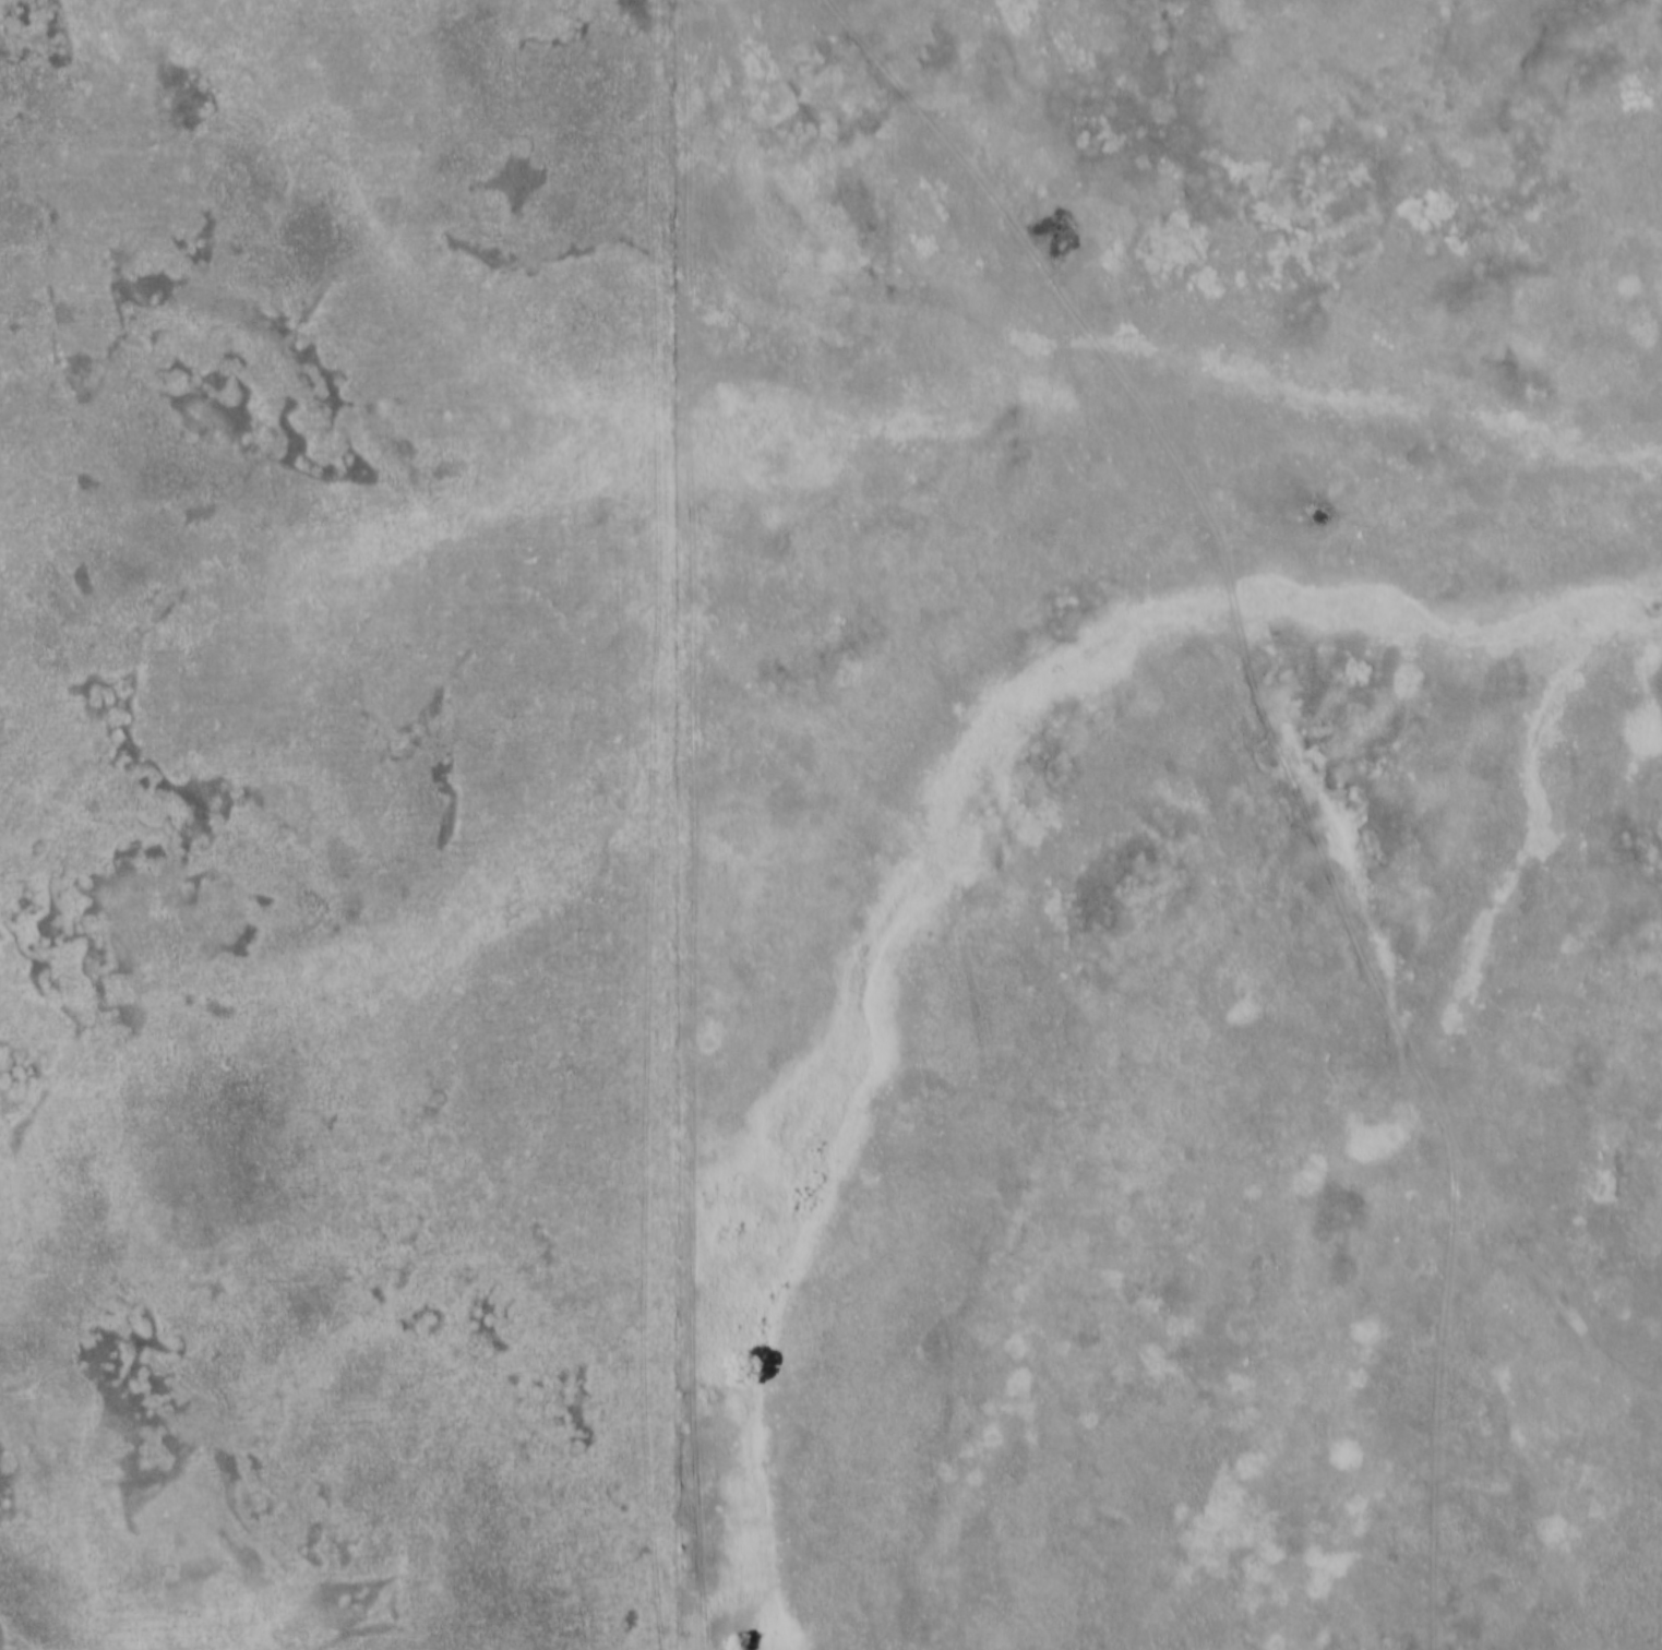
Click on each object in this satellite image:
road: (695, 824)

